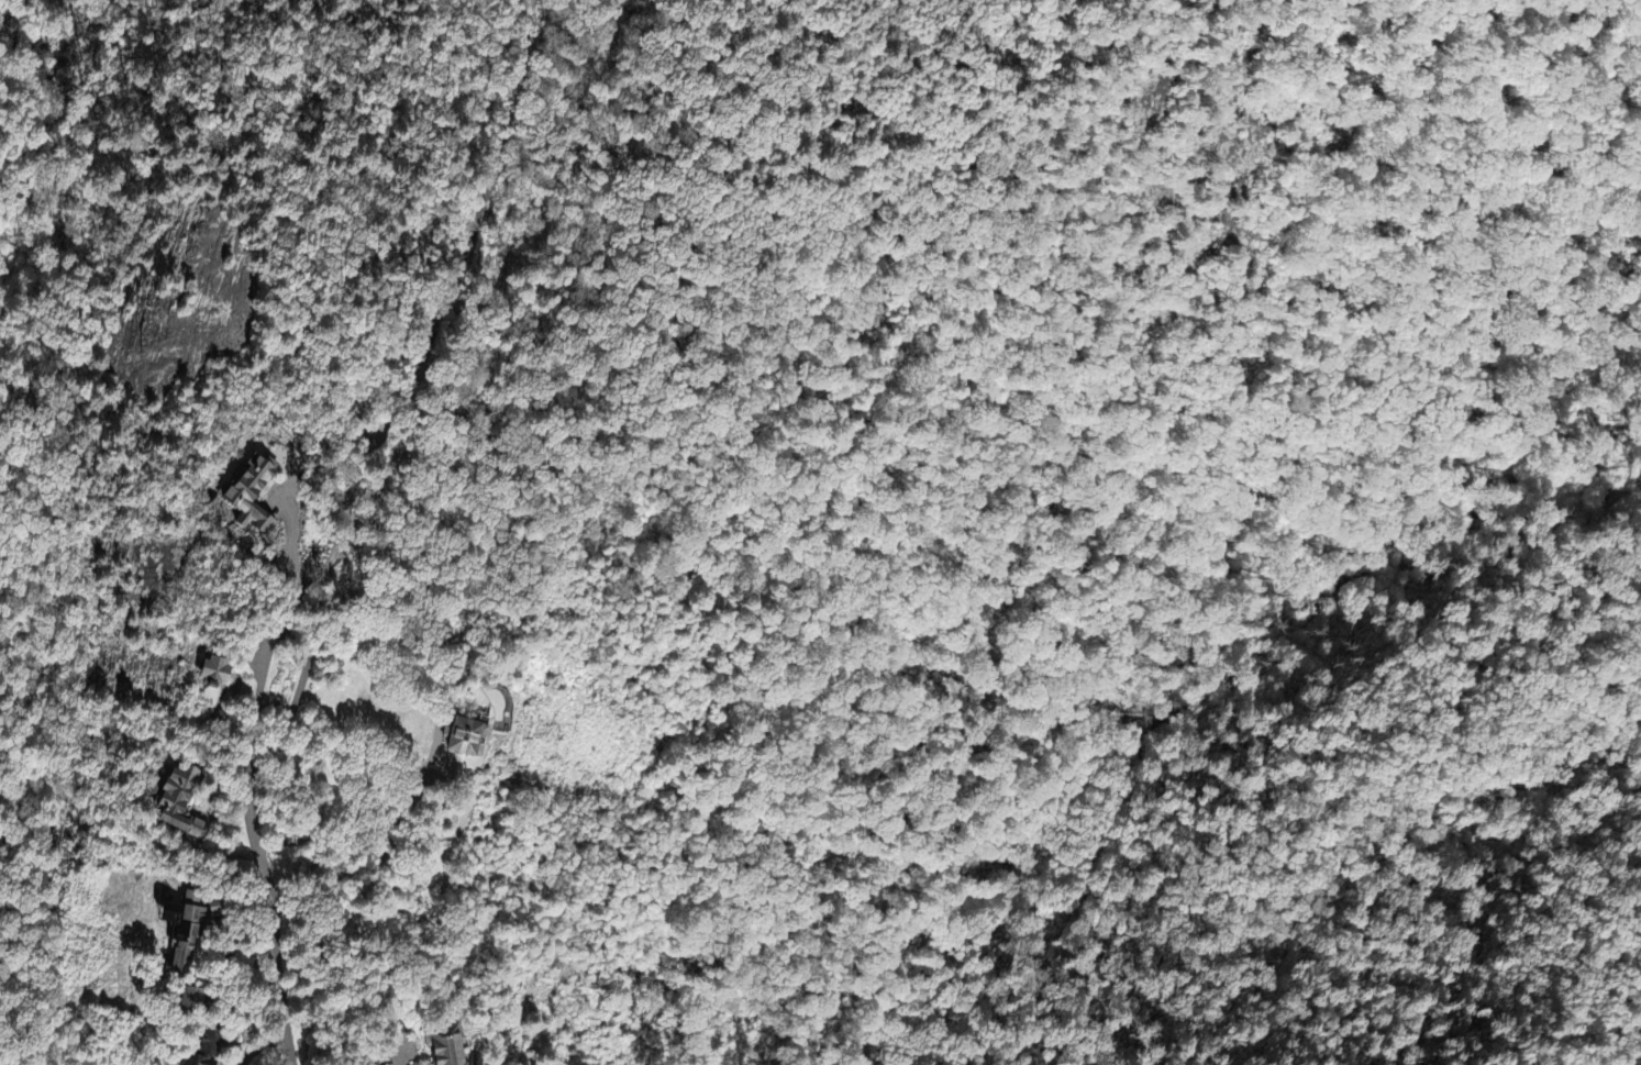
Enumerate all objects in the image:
road: (467, 211)
park: (534, 410)
building: (254, 498)
building: (217, 674)
road: (297, 697)
building: (467, 741)
building: (180, 805)
road: (257, 845)
building: (189, 932)
building: (195, 999)
building: (446, 1046)
building: (208, 1050)

